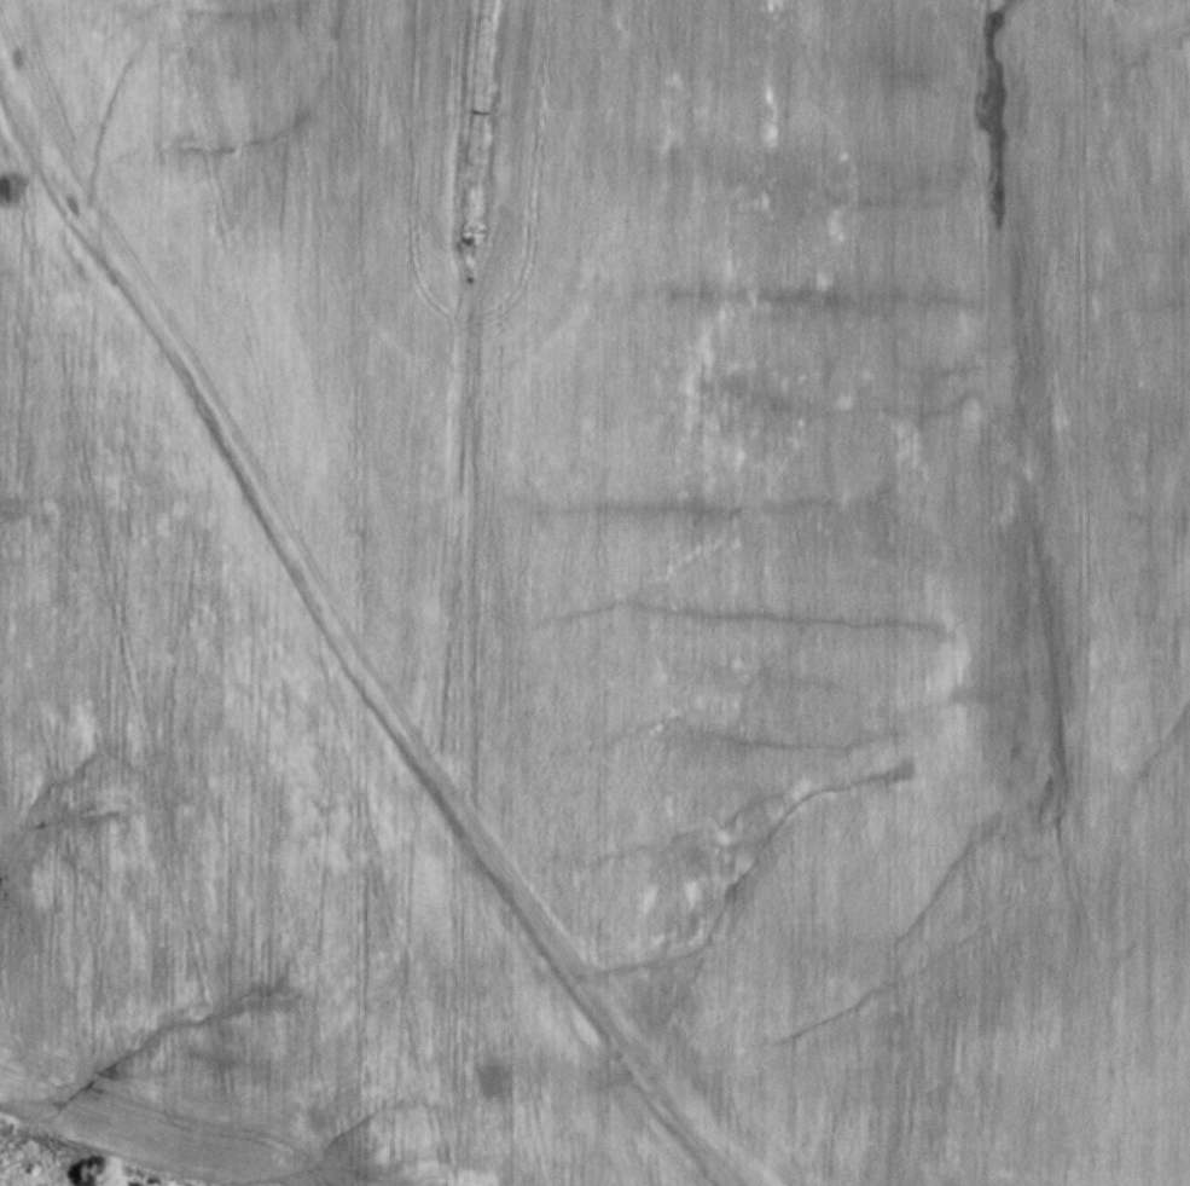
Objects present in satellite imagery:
road: (326, 649)

